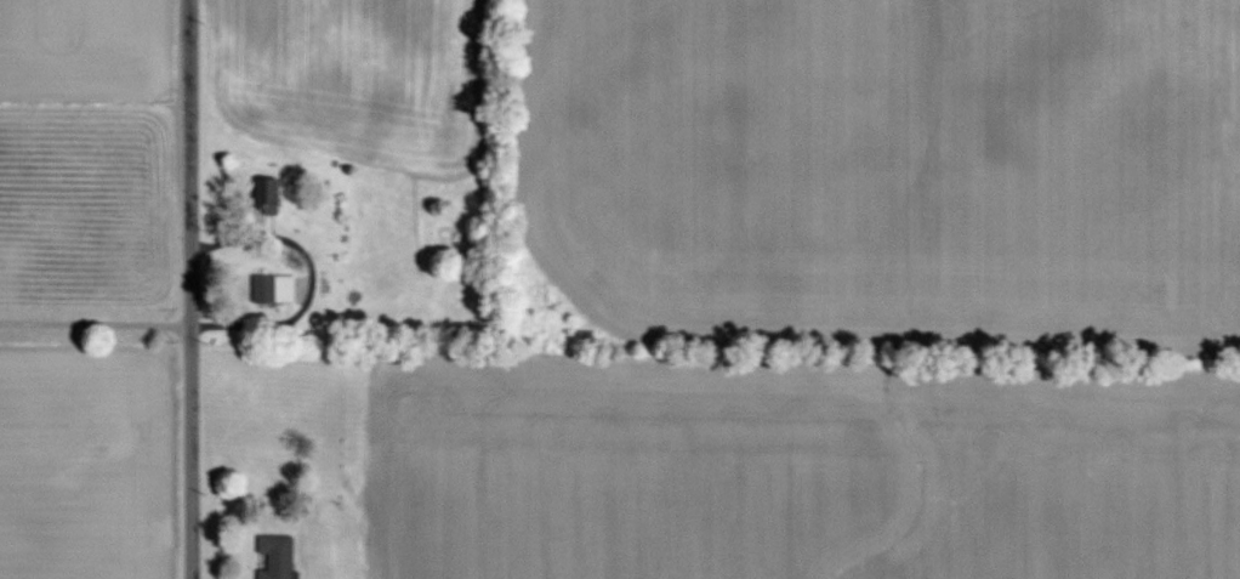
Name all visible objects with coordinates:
building: (266, 197)
road: (188, 289)
building: (272, 290)
road: (93, 320)
building: (274, 557)

